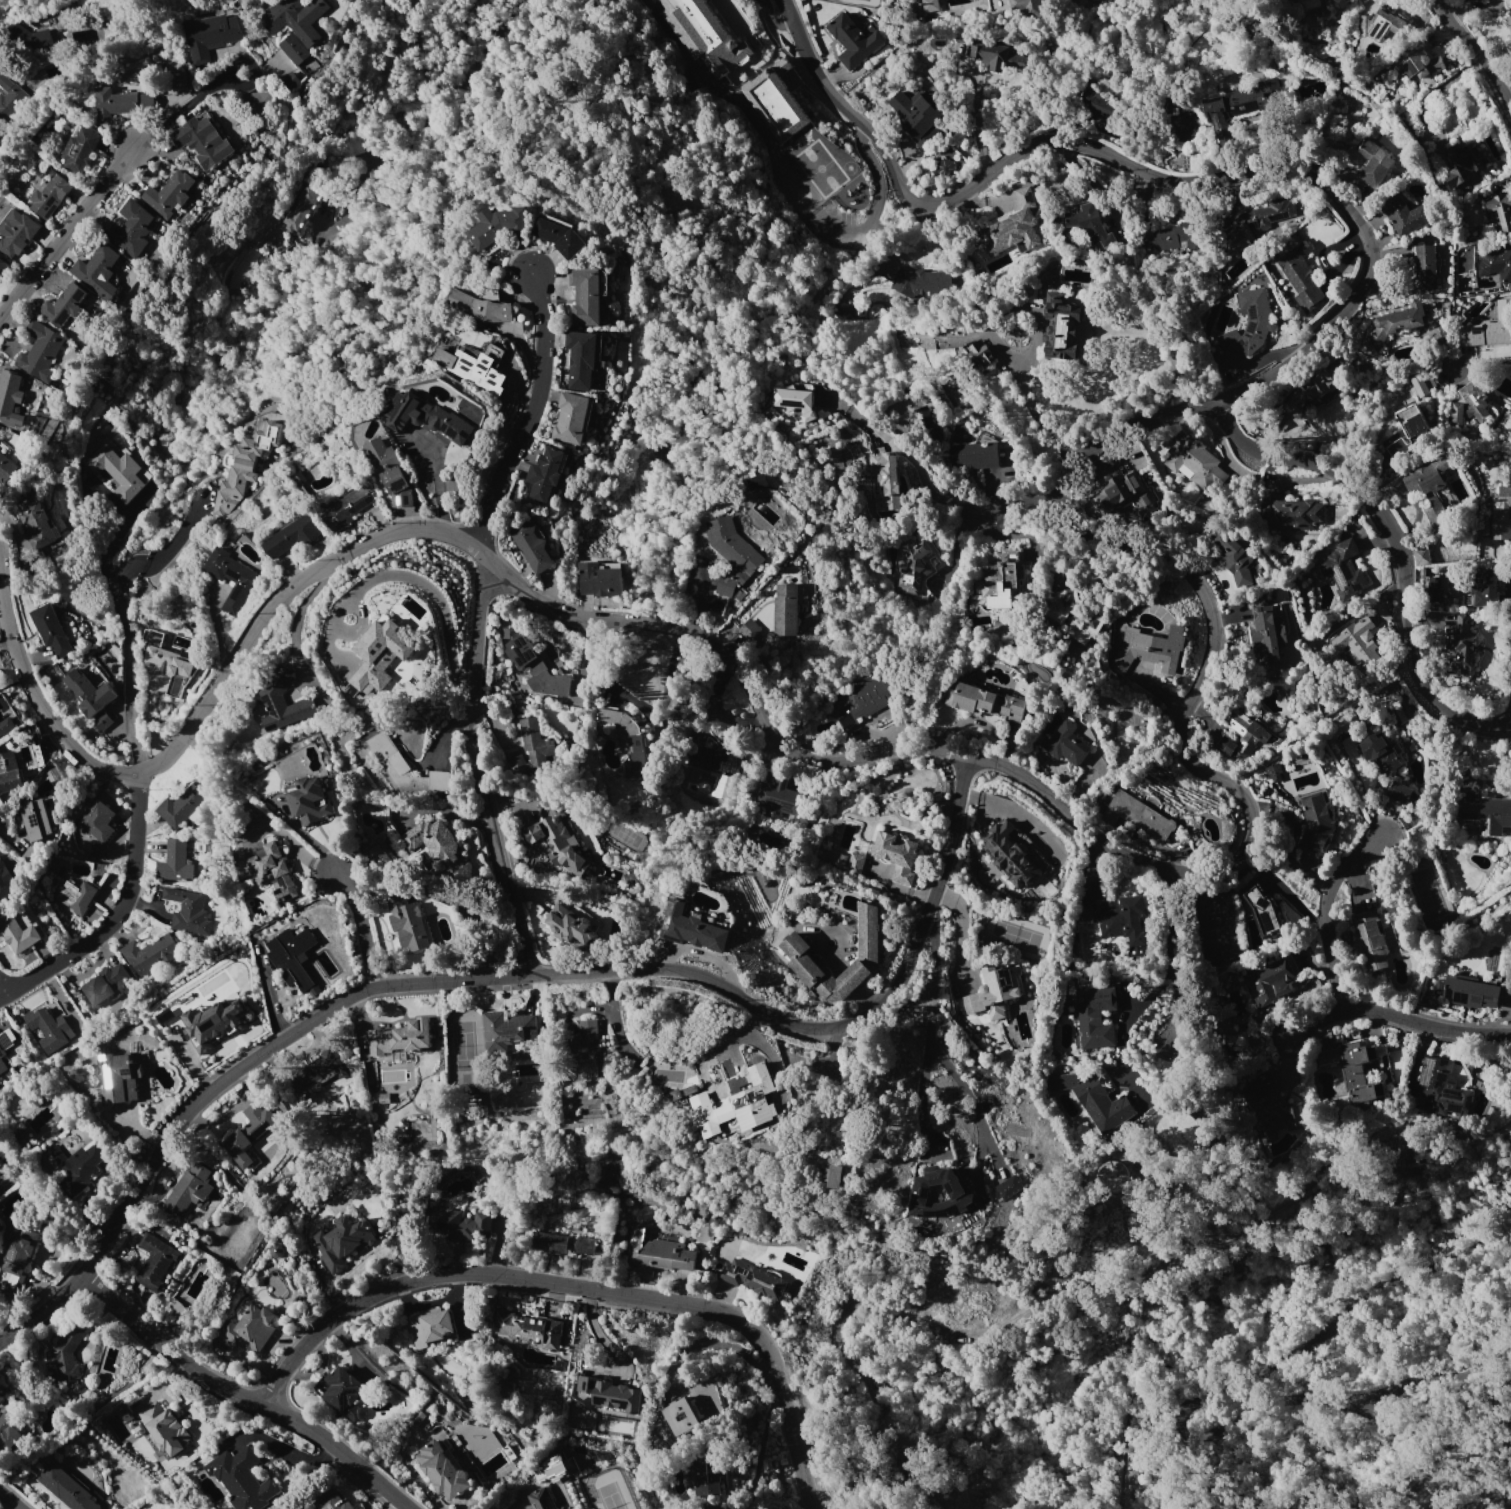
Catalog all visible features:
building: (1089, 1)
road: (767, 2)
building: (930, 6)
building: (1316, 6)
building: (1028, 7)
road: (773, 21)
building: (1381, 24)
building: (298, 25)
building: (1509, 29)
building: (213, 31)
building: (37, 33)
building: (706, 35)
building: (856, 40)
road: (1476, 53)
building: (995, 55)
building: (1414, 63)
building: (1268, 90)
road: (441, 94)
building: (9, 96)
building: (776, 99)
building: (1096, 99)
building: (303, 100)
building: (121, 102)
building: (1223, 114)
building: (917, 115)
road: (973, 122)
building: (203, 140)
building: (80, 150)
building: (1373, 162)
building: (1463, 162)
building: (944, 166)
road: (875, 168)
road: (109, 180)
building: (170, 194)
building: (50, 196)
building: (301, 208)
building: (1500, 209)
road: (343, 214)
building: (1403, 214)
building: (1258, 222)
building: (496, 225)
building: (1091, 226)
building: (1015, 227)
building: (135, 229)
road: (847, 229)
building: (17, 232)
building: (559, 235)
building: (1169, 235)
building: (1496, 262)
building: (4, 266)
building: (1425, 267)
building: (99, 271)
building: (1301, 273)
building: (921, 281)
building: (586, 296)
building: (65, 305)
building: (481, 306)
building: (847, 310)
building: (1395, 323)
building: (1062, 327)
building: (1488, 327)
building: (1245, 332)
building: (1439, 332)
building: (41, 351)
building: (978, 352)
building: (582, 358)
road: (1480, 362)
building: (473, 369)
building: (1314, 389)
building: (793, 397)
building: (11, 398)
building: (1476, 398)
road: (1034, 408)
road: (531, 414)
building: (1457, 414)
building: (809, 416)
building: (426, 417)
building: (572, 418)
building: (926, 421)
building: (1412, 421)
building: (975, 454)
road: (915, 460)
building: (1195, 463)
building: (8, 468)
building: (245, 468)
building: (117, 470)
building: (391, 472)
building: (887, 472)
building: (545, 474)
building: (1425, 479)
building: (756, 480)
road: (438, 481)
building: (1115, 488)
road: (1014, 500)
building: (347, 508)
building: (1501, 514)
building: (1293, 515)
building: (1432, 517)
building: (40, 524)
building: (293, 535)
building: (531, 546)
road: (1396, 546)
road: (167, 549)
building: (732, 553)
building: (1233, 554)
building: (1422, 555)
building: (917, 567)
building: (1346, 569)
building: (231, 578)
building: (600, 578)
building: (1001, 580)
building: (1486, 582)
road: (429, 587)
building: (1433, 588)
building: (786, 609)
building: (1072, 615)
building: (749, 628)
building: (51, 629)
building: (1267, 635)
building: (1356, 639)
road: (6, 640)
building: (1464, 643)
building: (367, 649)
building: (1149, 649)
building: (164, 657)
building: (538, 669)
road: (129, 677)
building: (90, 689)
building: (870, 696)
building: (282, 701)
building: (985, 701)
road: (640, 707)
building: (102, 721)
building: (6, 725)
building: (625, 736)
building: (1243, 736)
building: (536, 744)
building: (1065, 744)
building: (1381, 752)
road: (477, 763)
building: (406, 767)
building: (717, 768)
building: (10, 772)
building: (1273, 772)
building: (1399, 791)
building: (777, 796)
building: (307, 800)
building: (181, 805)
road: (1250, 810)
building: (1137, 815)
building: (1486, 815)
building: (35, 819)
building: (98, 819)
building: (1316, 824)
building: (434, 843)
building: (557, 844)
building: (96, 849)
building: (377, 853)
building: (1010, 853)
building: (897, 855)
building: (177, 862)
building: (838, 863)
building: (272, 868)
building: (7, 880)
building: (77, 896)
building: (188, 910)
building: (1263, 910)
road: (117, 913)
building: (1124, 917)
building: (410, 923)
building: (568, 924)
road: (362, 928)
building: (693, 929)
building: (19, 934)
building: (1373, 944)
building: (795, 948)
road: (1331, 948)
building: (150, 952)
building: (294, 956)
road: (1176, 956)
road: (507, 975)
building: (106, 983)
building: (1275, 983)
road: (2, 986)
building: (995, 991)
building: (1467, 992)
building: (1096, 1016)
road: (614, 1018)
building: (213, 1020)
road: (1429, 1024)
road: (930, 1025)
building: (49, 1028)
building: (508, 1030)
building: (586, 1034)
building: (400, 1038)
building: (2, 1060)
building: (354, 1069)
building: (323, 1070)
building: (781, 1070)
building: (1354, 1070)
building: (119, 1076)
building: (1442, 1089)
building: (385, 1097)
building: (1095, 1099)
building: (740, 1103)
building: (1272, 1110)
road: (975, 1113)
building: (1178, 1133)
building: (245, 1134)
road: (993, 1152)
building: (295, 1159)
building: (77, 1167)
building: (840, 1176)
building: (1112, 1176)
building: (1011, 1187)
building: (189, 1189)
building: (963, 1192)
building: (463, 1222)
building: (342, 1241)
building: (549, 1242)
building: (586, 1245)
building: (20, 1251)
building: (658, 1251)
building: (161, 1269)
building: (753, 1278)
road: (583, 1286)
building: (432, 1326)
building: (249, 1329)
building: (530, 1329)
road: (604, 1340)
building: (68, 1350)
building: (342, 1392)
building: (611, 1393)
road: (244, 1394)
building: (2, 1395)
building: (681, 1416)
building: (165, 1428)
building: (7, 1431)
building: (443, 1469)
building: (239, 1475)
building: (704, 1479)
building: (67, 1488)
building: (541, 1499)
road: (10, 1500)
building: (332, 1501)
building: (357, 1508)

